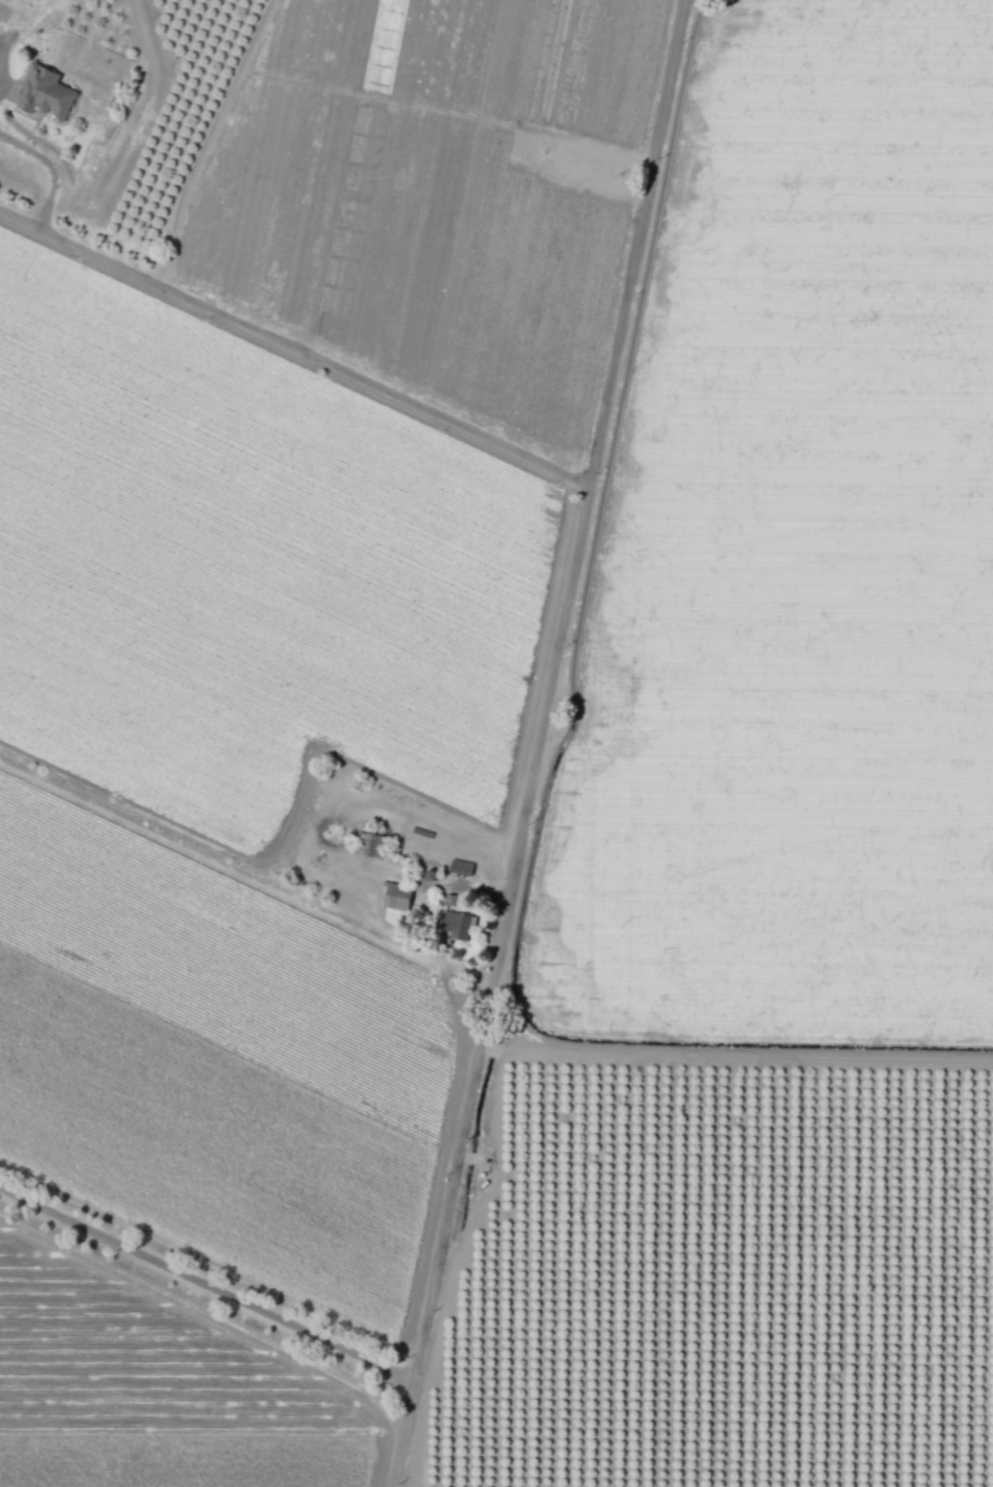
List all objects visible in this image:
road: (1, 46)
building: (44, 93)
road: (52, 168)
road: (298, 351)
road: (545, 744)
road: (478, 891)
building: (398, 899)
road: (206, 1285)

